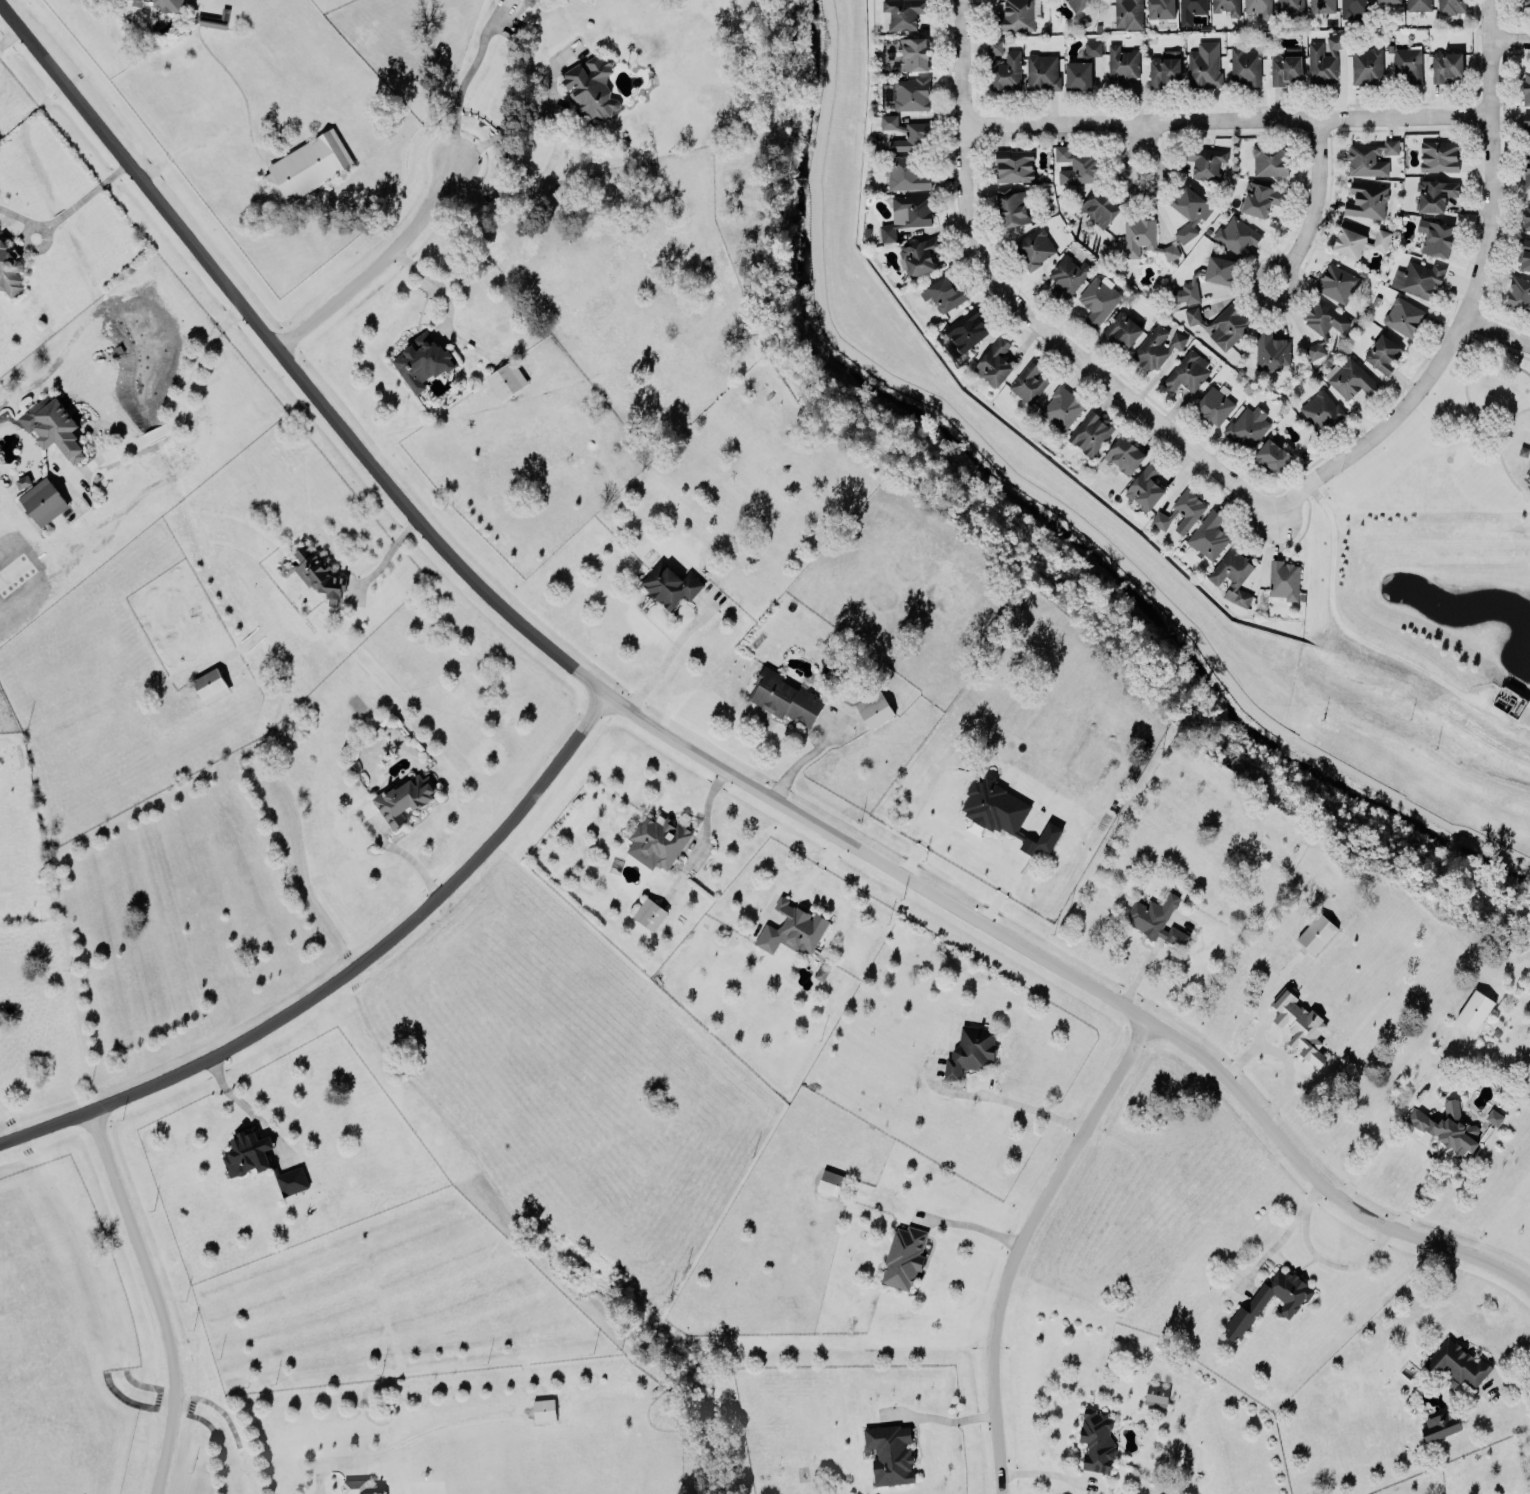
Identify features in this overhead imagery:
building: (527, 0)
building: (1387, 0)
building: (1077, 3)
building: (1525, 3)
building: (1418, 4)
building: (1321, 5)
building: (1450, 5)
building: (1226, 6)
building: (1259, 7)
building: (1289, 7)
building: (1354, 7)
building: (1161, 8)
building: (1191, 9)
building: (903, 12)
building: (1128, 13)
building: (1016, 15)
building: (213, 18)
road: (8, 35)
road: (1510, 39)
building: (994, 45)
building: (913, 52)
building: (1122, 60)
building: (1323, 60)
building: (1408, 61)
building: (1366, 64)
building: (1081, 65)
building: (1244, 65)
building: (1446, 65)
building: (1285, 66)
building: (1164, 67)
building: (1203, 67)
building: (1042, 69)
building: (1005, 70)
road: (465, 76)
road: (552, 77)
building: (591, 84)
building: (1526, 87)
building: (911, 92)
road: (1225, 115)
building: (1526, 124)
building: (907, 132)
road: (1141, 134)
road: (556, 143)
building: (1438, 154)
building: (1370, 155)
building: (1269, 157)
road: (1153, 158)
building: (1204, 158)
building: (1014, 164)
building: (1077, 164)
building: (307, 165)
building: (1527, 169)
building: (906, 171)
road: (95, 185)
road: (1313, 193)
building: (1435, 193)
building: (1260, 198)
building: (1366, 199)
building: (1012, 204)
building: (1099, 206)
building: (1189, 209)
building: (907, 211)
road: (17, 214)
road: (60, 214)
building: (1526, 215)
building: (1435, 234)
building: (1236, 235)
building: (1143, 237)
road: (25, 239)
building: (1358, 240)
building: (1033, 246)
building: (1524, 249)
building: (919, 253)
road: (373, 261)
building: (9, 266)
building: (1219, 268)
road: (1259, 268)
building: (1068, 274)
road: (432, 277)
building: (1418, 277)
building: (1337, 280)
building: (944, 291)
building: (1185, 292)
building: (1518, 292)
building: (1098, 298)
road: (1475, 298)
road: (1025, 307)
building: (1192, 314)
building: (1404, 315)
building: (1322, 323)
building: (1228, 325)
building: (966, 328)
building: (1122, 328)
road: (1500, 329)
building: (1177, 338)
building: (1152, 347)
building: (1271, 347)
building: (1382, 353)
building: (422, 358)
road: (193, 360)
building: (994, 360)
building: (1187, 370)
building: (1350, 377)
building: (506, 378)
building: (1028, 381)
building: (1216, 402)
building: (1061, 407)
building: (1321, 409)
building: (52, 425)
building: (1247, 425)
road: (153, 432)
building: (1090, 432)
road: (128, 438)
building: (1273, 452)
building: (1122, 453)
building: (23, 480)
building: (1147, 484)
building: (43, 500)
building: (1181, 510)
building: (1208, 534)
road: (385, 554)
building: (318, 569)
building: (1231, 573)
building: (1284, 579)
building: (669, 584)
road: (666, 655)
building: (210, 684)
building: (786, 696)
building: (873, 707)
road: (686, 744)
road: (801, 758)
building: (404, 796)
building: (1004, 810)
building: (660, 836)
road: (978, 842)
road: (405, 855)
building: (649, 912)
building: (1154, 916)
building: (792, 926)
building: (1316, 932)
road: (342, 972)
building: (1474, 1008)
building: (1299, 1023)
building: (971, 1048)
road: (1282, 1054)
road: (244, 1104)
road: (1036, 1108)
building: (1493, 1115)
building: (1447, 1125)
road: (1412, 1145)
building: (247, 1151)
building: (291, 1177)
building: (829, 1181)
road: (969, 1223)
road: (1280, 1236)
road: (1019, 1243)
building: (903, 1255)
road: (1332, 1262)
road: (152, 1298)
building: (1290, 1301)
building: (1456, 1362)
road: (1507, 1383)
building: (1156, 1394)
building: (543, 1408)
road: (941, 1417)
building: (1440, 1424)
building: (1096, 1438)
building: (889, 1451)
road: (1046, 1472)
building: (361, 1487)

